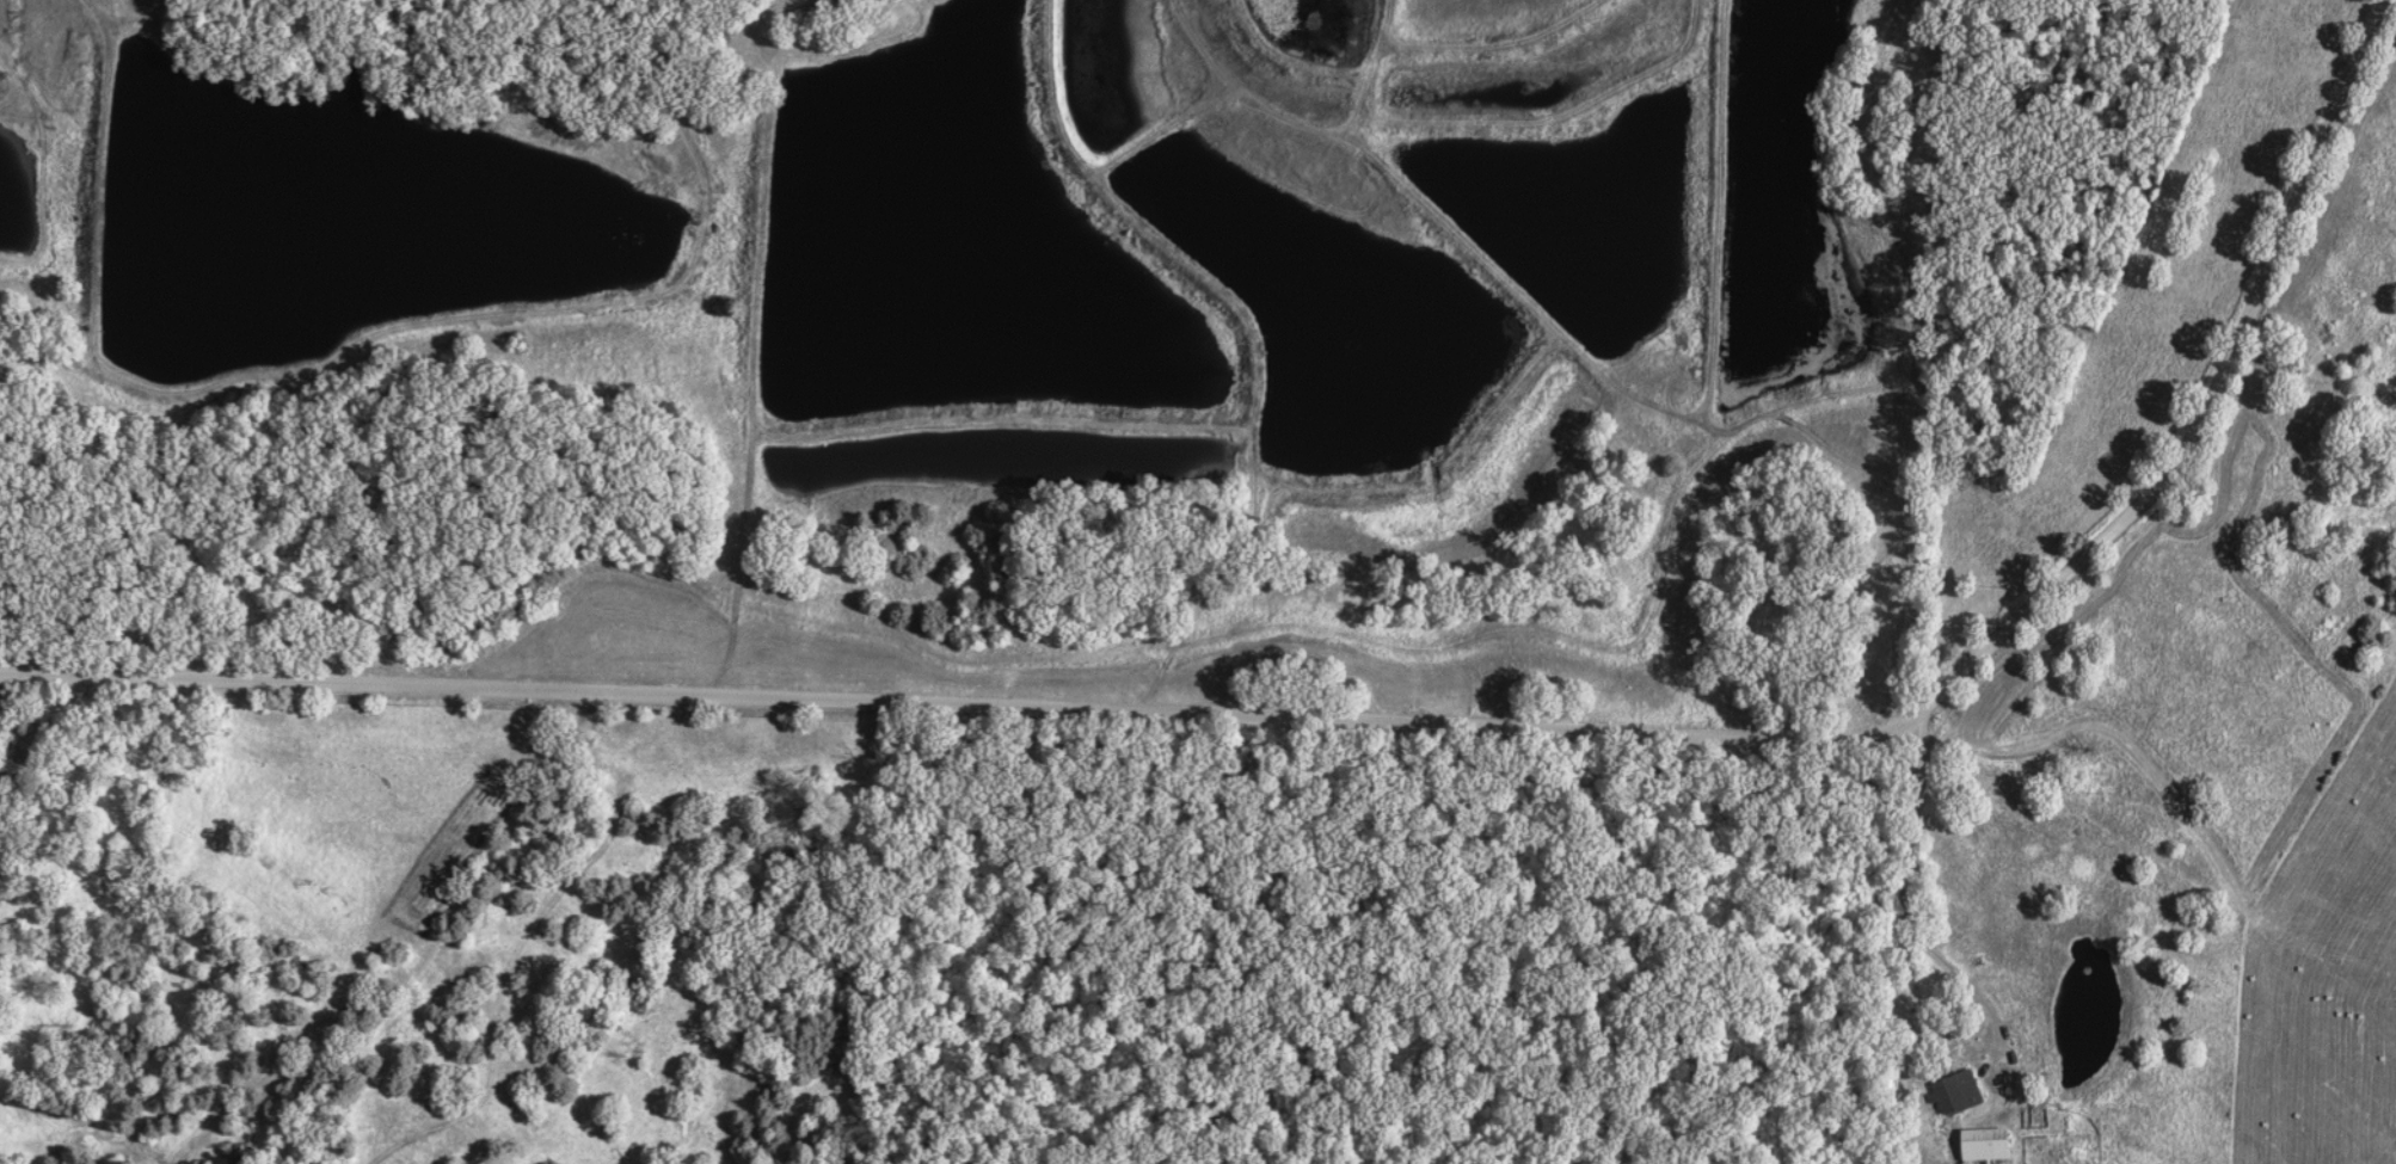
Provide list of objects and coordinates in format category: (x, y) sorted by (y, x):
road: (1400, 749)
road: (1904, 941)
building: (1984, 1145)
building: (236, 1154)

